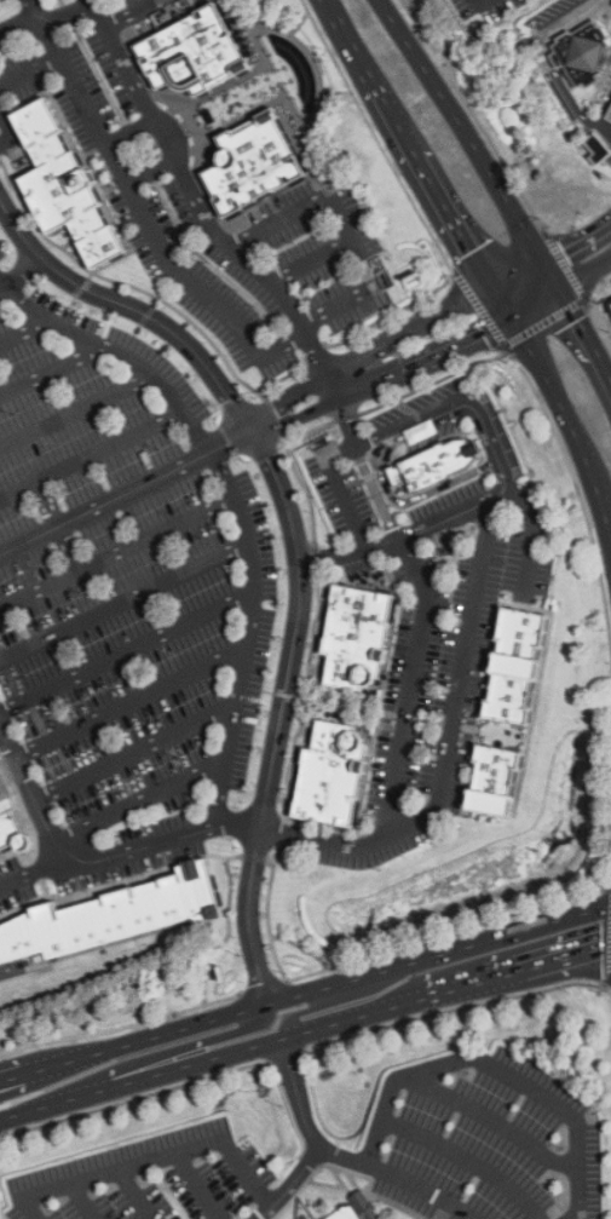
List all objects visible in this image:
road: (60, 2)
road: (69, 15)
road: (133, 15)
road: (243, 15)
road: (47, 22)
road: (300, 23)
building: (587, 50)
road: (247, 52)
building: (191, 53)
road: (311, 56)
road: (548, 67)
road: (29, 70)
road: (292, 70)
road: (284, 71)
fountain: (292, 73)
road: (143, 74)
road: (100, 75)
road: (370, 75)
road: (276, 79)
road: (270, 92)
road: (335, 92)
road: (284, 96)
road: (272, 97)
road: (206, 102)
building: (609, 114)
road: (196, 122)
road: (218, 125)
road: (480, 125)
road: (463, 128)
road: (8, 132)
road: (128, 132)
road: (131, 132)
road: (171, 137)
building: (600, 146)
road: (140, 151)
road: (140, 153)
road: (116, 162)
building: (253, 163)
road: (100, 171)
road: (150, 172)
road: (151, 173)
road: (200, 180)
road: (294, 182)
building: (63, 184)
road: (99, 189)
road: (413, 203)
road: (201, 211)
road: (142, 213)
road: (453, 218)
road: (347, 229)
road: (214, 230)
road: (576, 243)
road: (195, 249)
road: (587, 254)
road: (313, 261)
traffic signals: (541, 264)
road: (213, 266)
road: (178, 271)
road: (453, 272)
road: (584, 272)
road: (19, 276)
road: (518, 276)
road: (549, 276)
road: (126, 283)
traffic signals: (495, 288)
traffic signals: (558, 289)
road: (165, 293)
building: (610, 299)
road: (503, 301)
road: (535, 303)
road: (588, 305)
road: (595, 311)
road: (148, 315)
traffic signals: (512, 316)
road: (137, 329)
road: (24, 333)
road: (584, 334)
road: (506, 344)
road: (315, 349)
road: (51, 372)
road: (287, 375)
road: (431, 383)
road: (456, 403)
road: (559, 406)
road: (76, 412)
road: (275, 416)
road: (346, 418)
road: (250, 431)
road: (288, 436)
road: (91, 456)
building: (431, 465)
road: (295, 468)
road: (576, 485)
road: (341, 490)
road: (125, 493)
road: (236, 500)
road: (405, 501)
road: (604, 524)
road: (59, 525)
road: (404, 536)
road: (531, 539)
road: (295, 540)
road: (117, 552)
road: (316, 557)
road: (352, 583)
road: (125, 600)
road: (425, 609)
building: (353, 637)
road: (127, 651)
building: (511, 666)
road: (347, 697)
road: (302, 698)
road: (317, 700)
road: (131, 703)
fountain: (340, 705)
road: (364, 709)
road: (365, 709)
road: (379, 721)
road: (449, 748)
road: (134, 753)
building: (329, 772)
building: (491, 781)
road: (30, 795)
road: (140, 803)
building: (10, 822)
road: (286, 833)
road: (31, 834)
road: (127, 852)
road: (281, 852)
road: (254, 857)
road: (30, 861)
road: (36, 872)
road: (110, 884)
road: (45, 887)
road: (269, 916)
building: (113, 918)
road: (229, 927)
road: (449, 935)
road: (302, 947)
road: (17, 966)
road: (606, 982)
road: (263, 988)
road: (305, 991)
road: (344, 999)
road: (454, 1008)
road: (121, 1029)
road: (306, 1034)
road: (154, 1058)
road: (286, 1058)
road: (495, 1068)
road: (136, 1098)
road: (305, 1119)
road: (496, 1120)
road: (468, 1156)
road: (152, 1160)
road: (290, 1184)
road: (192, 1186)
road: (422, 1188)
road: (129, 1196)
road: (76, 1203)
building: (353, 1209)

